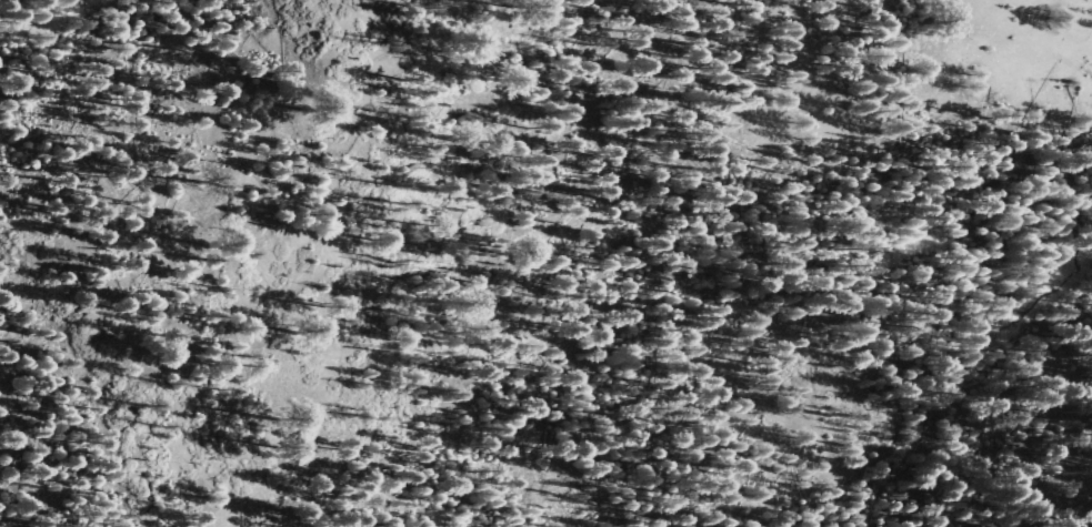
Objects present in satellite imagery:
road: (152, 249)

